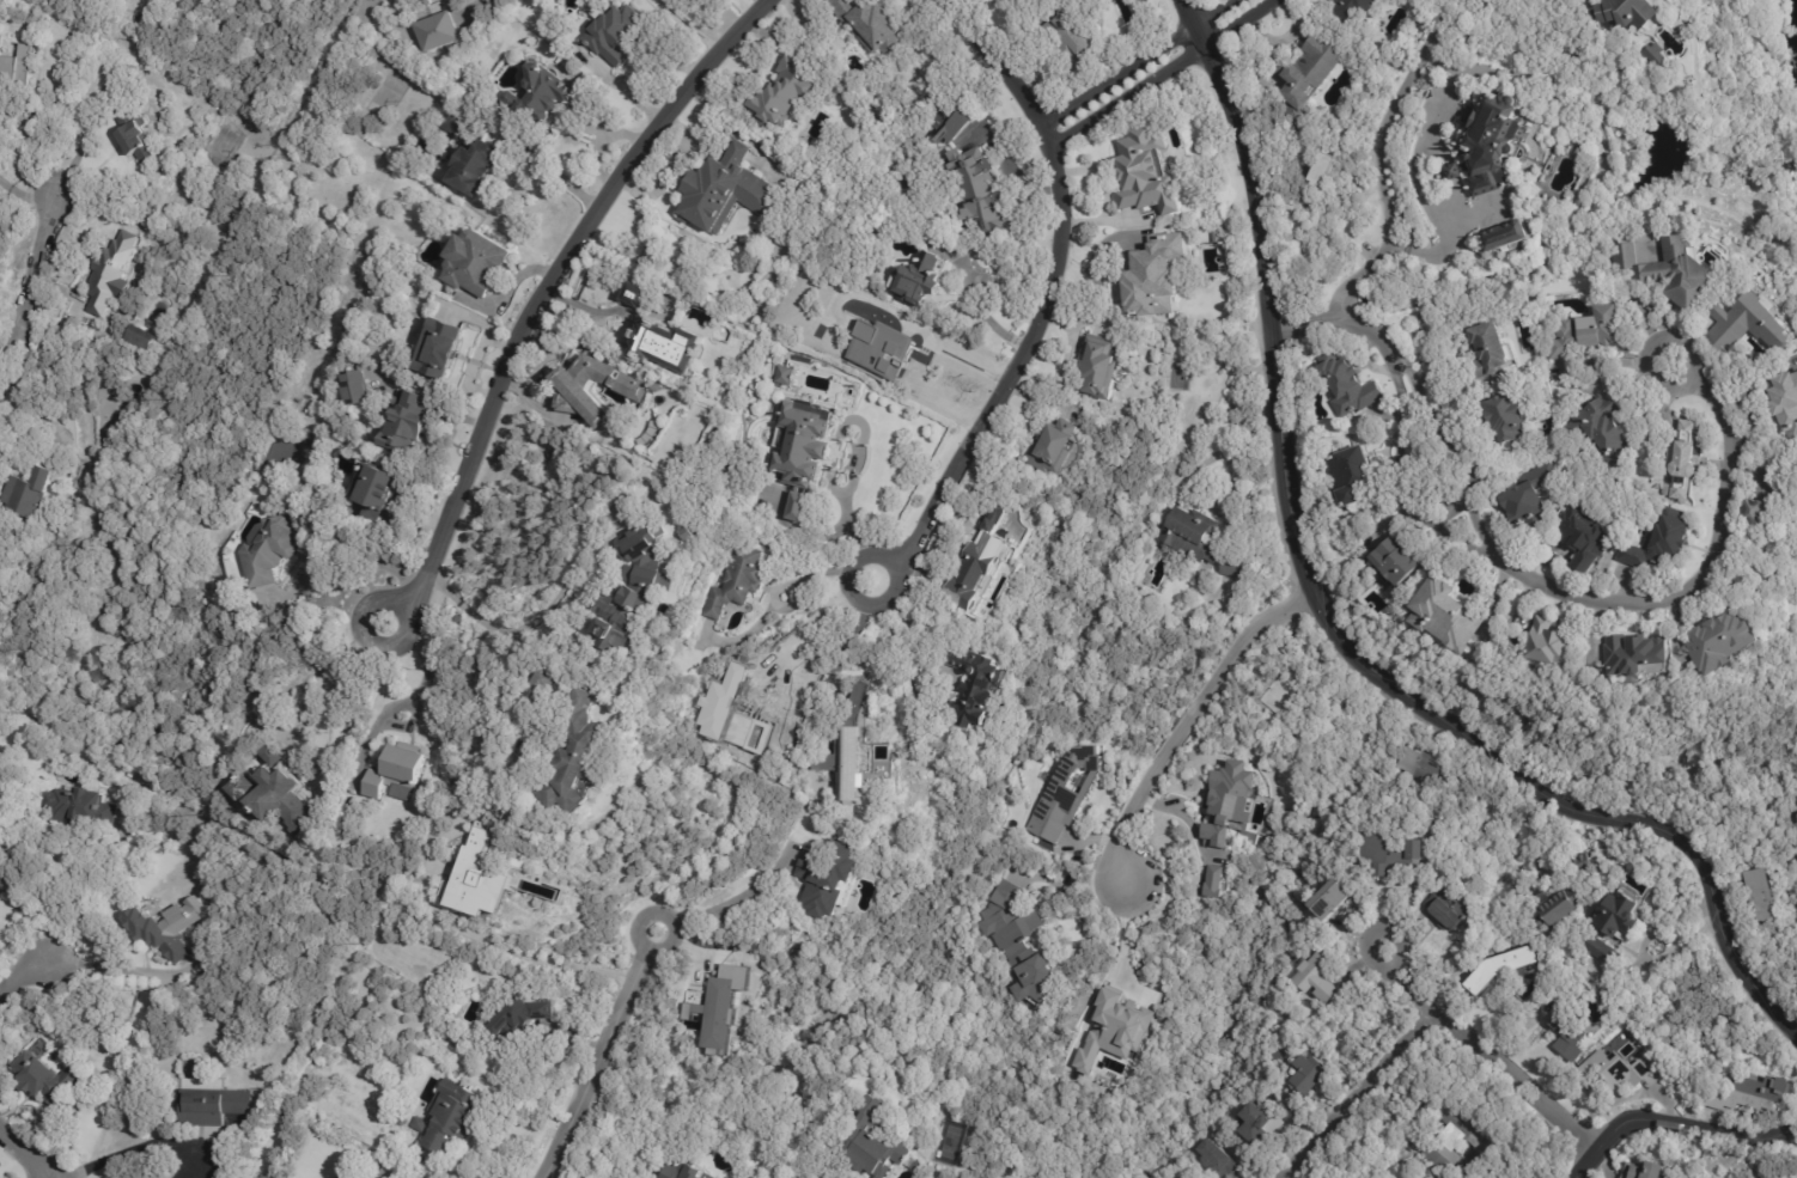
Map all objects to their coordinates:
building: (427, 4)
building: (1353, 11)
building: (1624, 13)
building: (877, 25)
building: (439, 31)
building: (616, 36)
building: (1082, 41)
building: (1650, 55)
building: (18, 67)
road: (1147, 67)
building: (1302, 78)
building: (786, 91)
building: (543, 94)
road: (1387, 118)
building: (948, 121)
building: (457, 127)
building: (140, 141)
building: (1488, 146)
building: (918, 164)
building: (476, 166)
road: (556, 169)
building: (1144, 172)
building: (1318, 172)
building: (980, 189)
building: (729, 191)
building: (1213, 236)
building: (1497, 238)
road: (1399, 251)
building: (477, 262)
building: (1663, 267)
building: (1149, 274)
building: (109, 276)
building: (921, 281)
road: (31, 291)
road: (544, 293)
road: (1048, 293)
building: (639, 297)
road: (982, 307)
road: (1341, 315)
building: (1743, 325)
building: (726, 337)
building: (1583, 337)
building: (142, 340)
building: (669, 344)
building: (879, 348)
building: (441, 350)
building: (1486, 353)
building: (1096, 368)
building: (786, 374)
road: (1275, 385)
building: (354, 387)
building: (1346, 387)
building: (574, 396)
building: (1786, 405)
building: (1501, 420)
building: (403, 422)
building: (1024, 426)
building: (1598, 431)
building: (1027, 437)
road: (1443, 438)
building: (809, 446)
building: (1047, 448)
road: (1395, 462)
building: (1681, 462)
building: (1766, 471)
building: (1348, 476)
building: (376, 493)
building: (26, 494)
building: (1527, 500)
building: (802, 509)
building: (1756, 517)
building: (1188, 537)
building: (650, 542)
building: (1583, 543)
building: (1659, 543)
building: (268, 550)
road: (348, 556)
building: (1393, 562)
building: (1232, 566)
building: (985, 572)
building: (656, 576)
building: (739, 580)
road: (1685, 582)
road: (562, 588)
road: (774, 604)
building: (623, 616)
building: (1440, 618)
road: (912, 629)
building: (1717, 645)
building: (1546, 648)
building: (1631, 659)
building: (552, 679)
building: (980, 683)
building: (571, 685)
road: (409, 704)
building: (853, 704)
building: (560, 709)
road: (1186, 724)
road: (1452, 731)
building: (585, 753)
building: (852, 763)
building: (1411, 765)
building: (396, 771)
road: (712, 773)
building: (1065, 793)
building: (1228, 802)
building: (81, 807)
road: (1675, 837)
building: (1382, 856)
building: (1572, 866)
building: (7, 872)
building: (481, 879)
building: (837, 879)
building: (1212, 881)
building: (1754, 895)
building: (1327, 902)
building: (18, 909)
building: (1551, 909)
road: (31, 910)
road: (719, 910)
building: (1438, 915)
building: (1609, 928)
building: (163, 934)
building: (1017, 942)
road: (1123, 951)
building: (1482, 971)
road: (20, 978)
building: (1309, 978)
building: (721, 1006)
building: (525, 1015)
building: (1111, 1032)
building: (1565, 1037)
road: (1486, 1054)
road: (598, 1055)
building: (1610, 1072)
road: (501, 1074)
building: (1306, 1075)
building: (50, 1080)
building: (373, 1080)
road: (1362, 1093)
building: (1746, 1094)
building: (215, 1106)
building: (451, 1112)
building: (234, 1119)
building: (422, 1125)
road: (1676, 1127)
building: (1254, 1129)
building: (1451, 1140)
road: (146, 1147)
road: (25, 1153)
building: (885, 1153)
building: (1217, 1161)
building: (688, 1170)
building: (1643, 1172)
building: (342, 1176)
building: (363, 1176)

